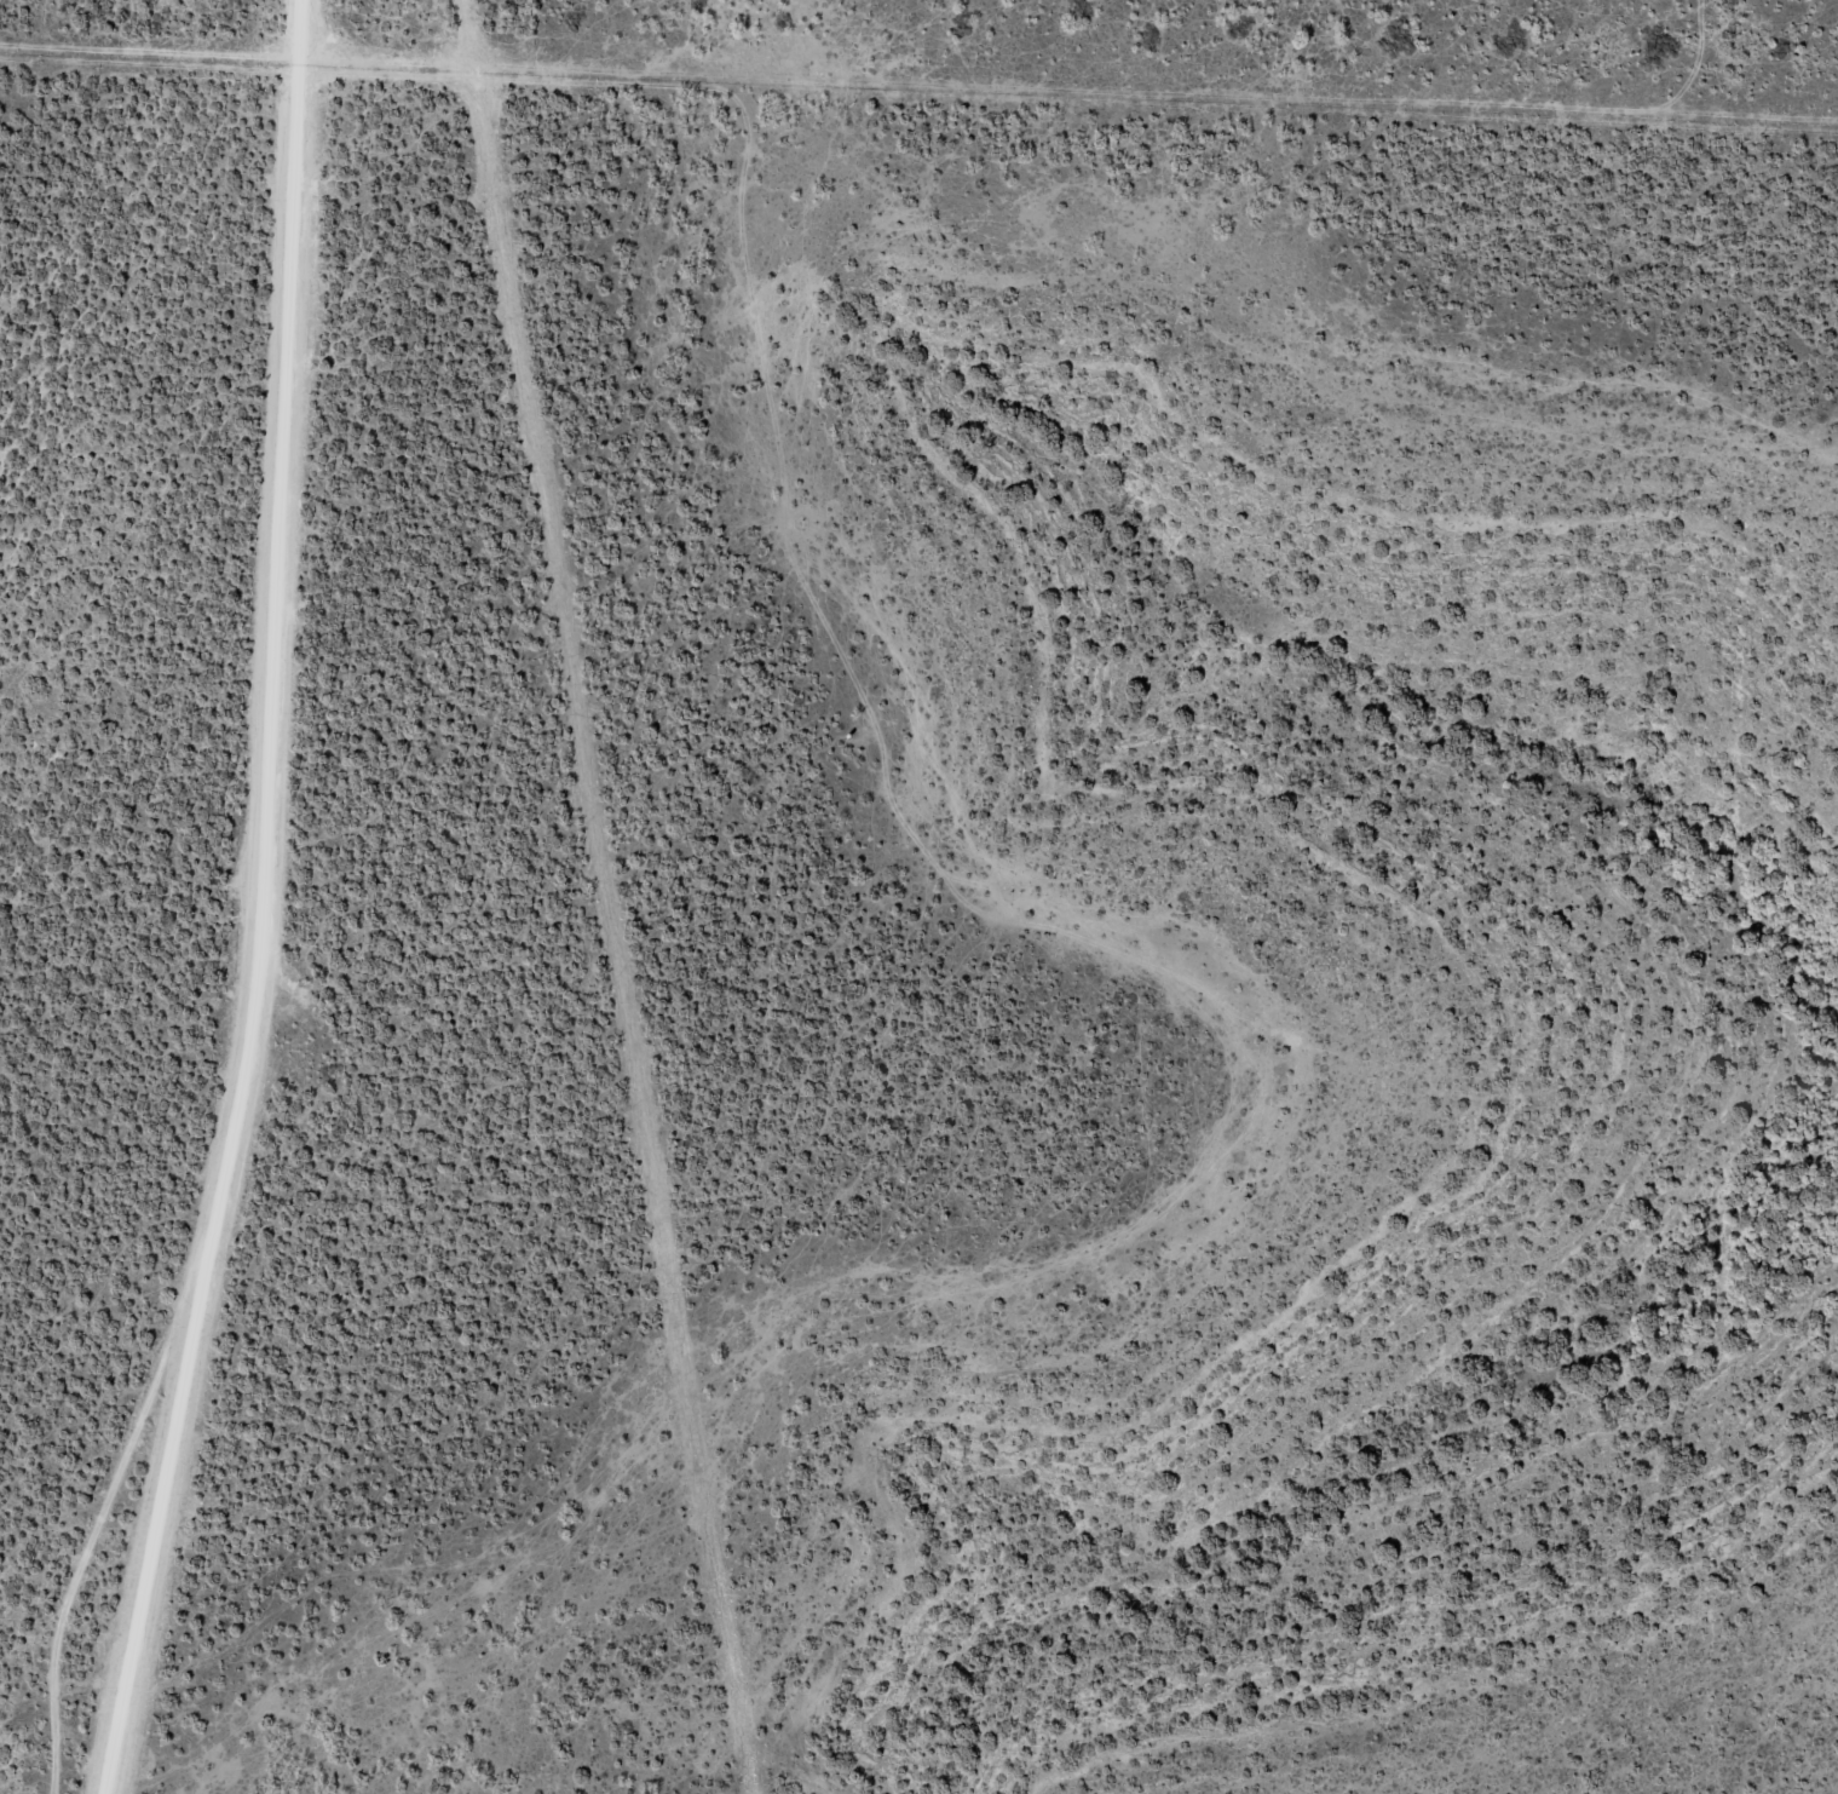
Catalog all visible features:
road: (255, 908)

